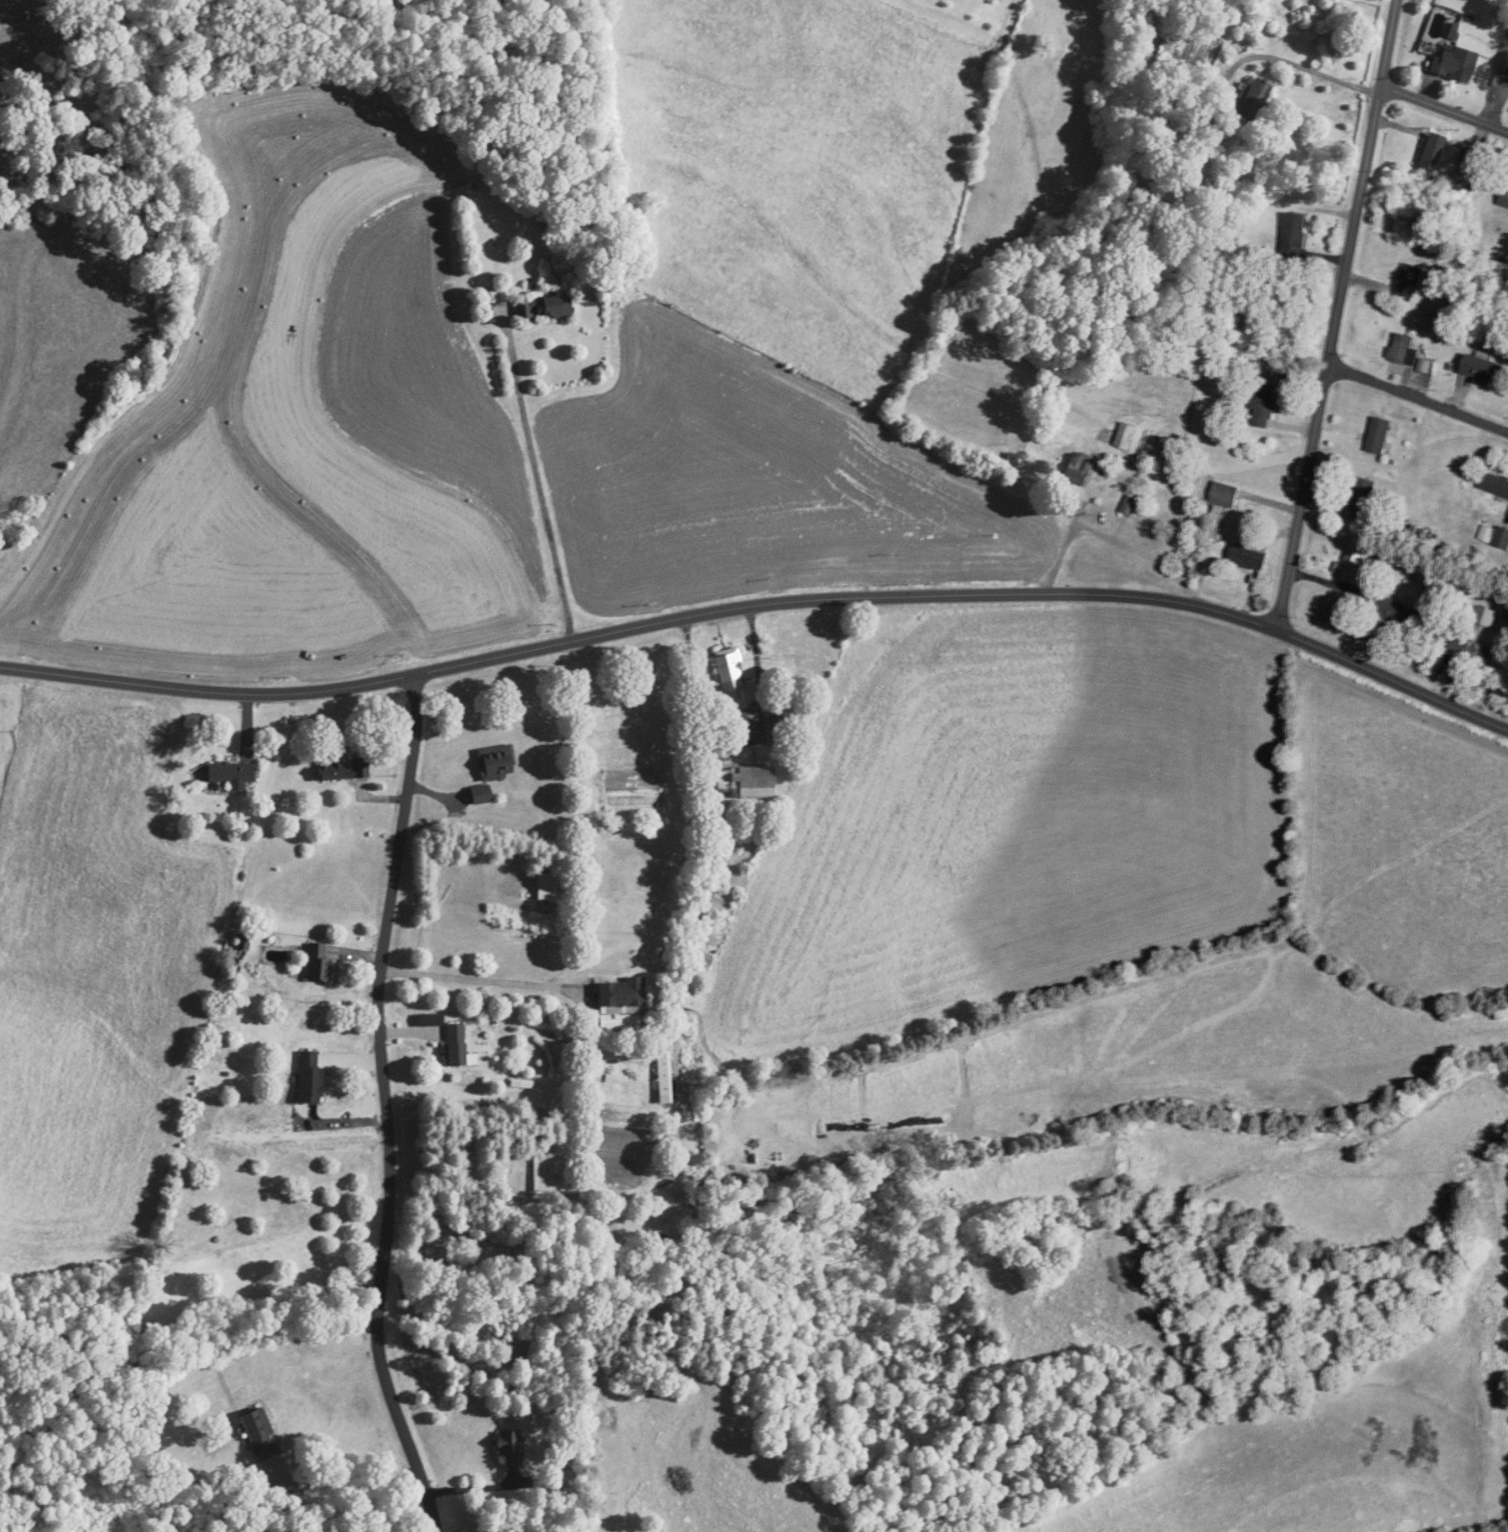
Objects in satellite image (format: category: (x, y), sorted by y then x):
building: (1504, 63)
building: (1455, 64)
building: (1254, 100)
road: (1444, 109)
building: (1431, 152)
building: (1132, 189)
building: (1504, 197)
building: (1295, 234)
building: (1409, 282)
building: (547, 308)
road: (1337, 314)
building: (1403, 348)
building: (1486, 371)
road: (1418, 397)
building: (1264, 407)
building: (1126, 436)
building: (1380, 436)
building: (1080, 468)
road: (539, 480)
building: (1495, 485)
building: (1225, 495)
building: (1363, 495)
building: (1130, 506)
building: (1487, 534)
road: (1113, 538)
building: (1502, 539)
building: (1252, 559)
road: (761, 604)
building: (1392, 610)
building: (1466, 643)
building: (730, 673)
building: (496, 762)
building: (343, 768)
building: (230, 772)
building: (745, 781)
building: (481, 794)
building: (703, 958)
building: (317, 962)
road: (470, 979)
building: (622, 995)
building: (455, 1043)
building: (309, 1076)
building: (663, 1076)
road: (385, 1107)
building: (543, 1171)
building: (260, 1434)
building: (510, 1447)
road: (351, 1483)
road: (474, 1488)

